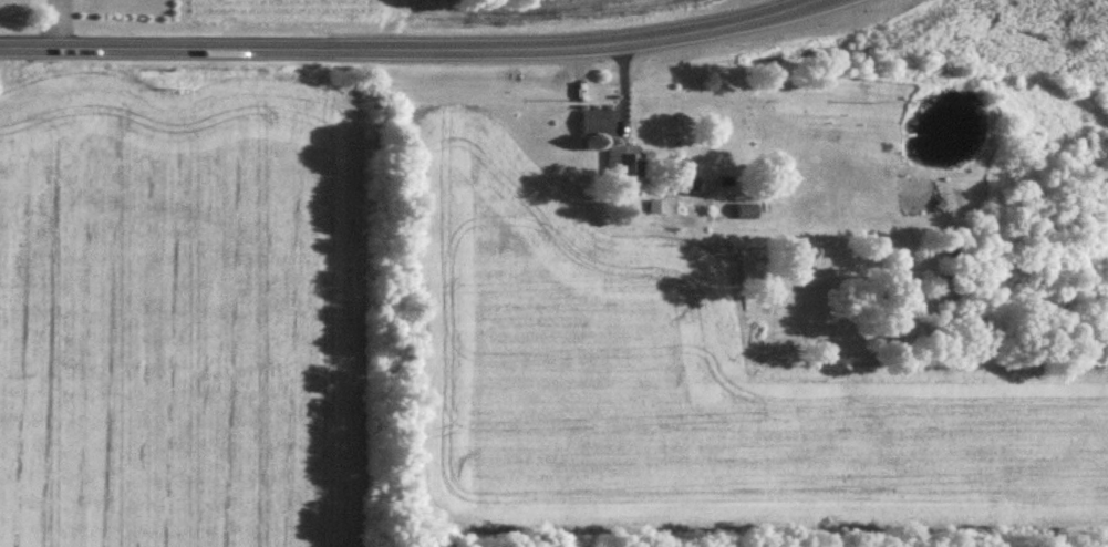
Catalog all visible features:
road: (410, 49)
building: (593, 121)
building: (622, 161)
building: (657, 204)
building: (744, 208)

